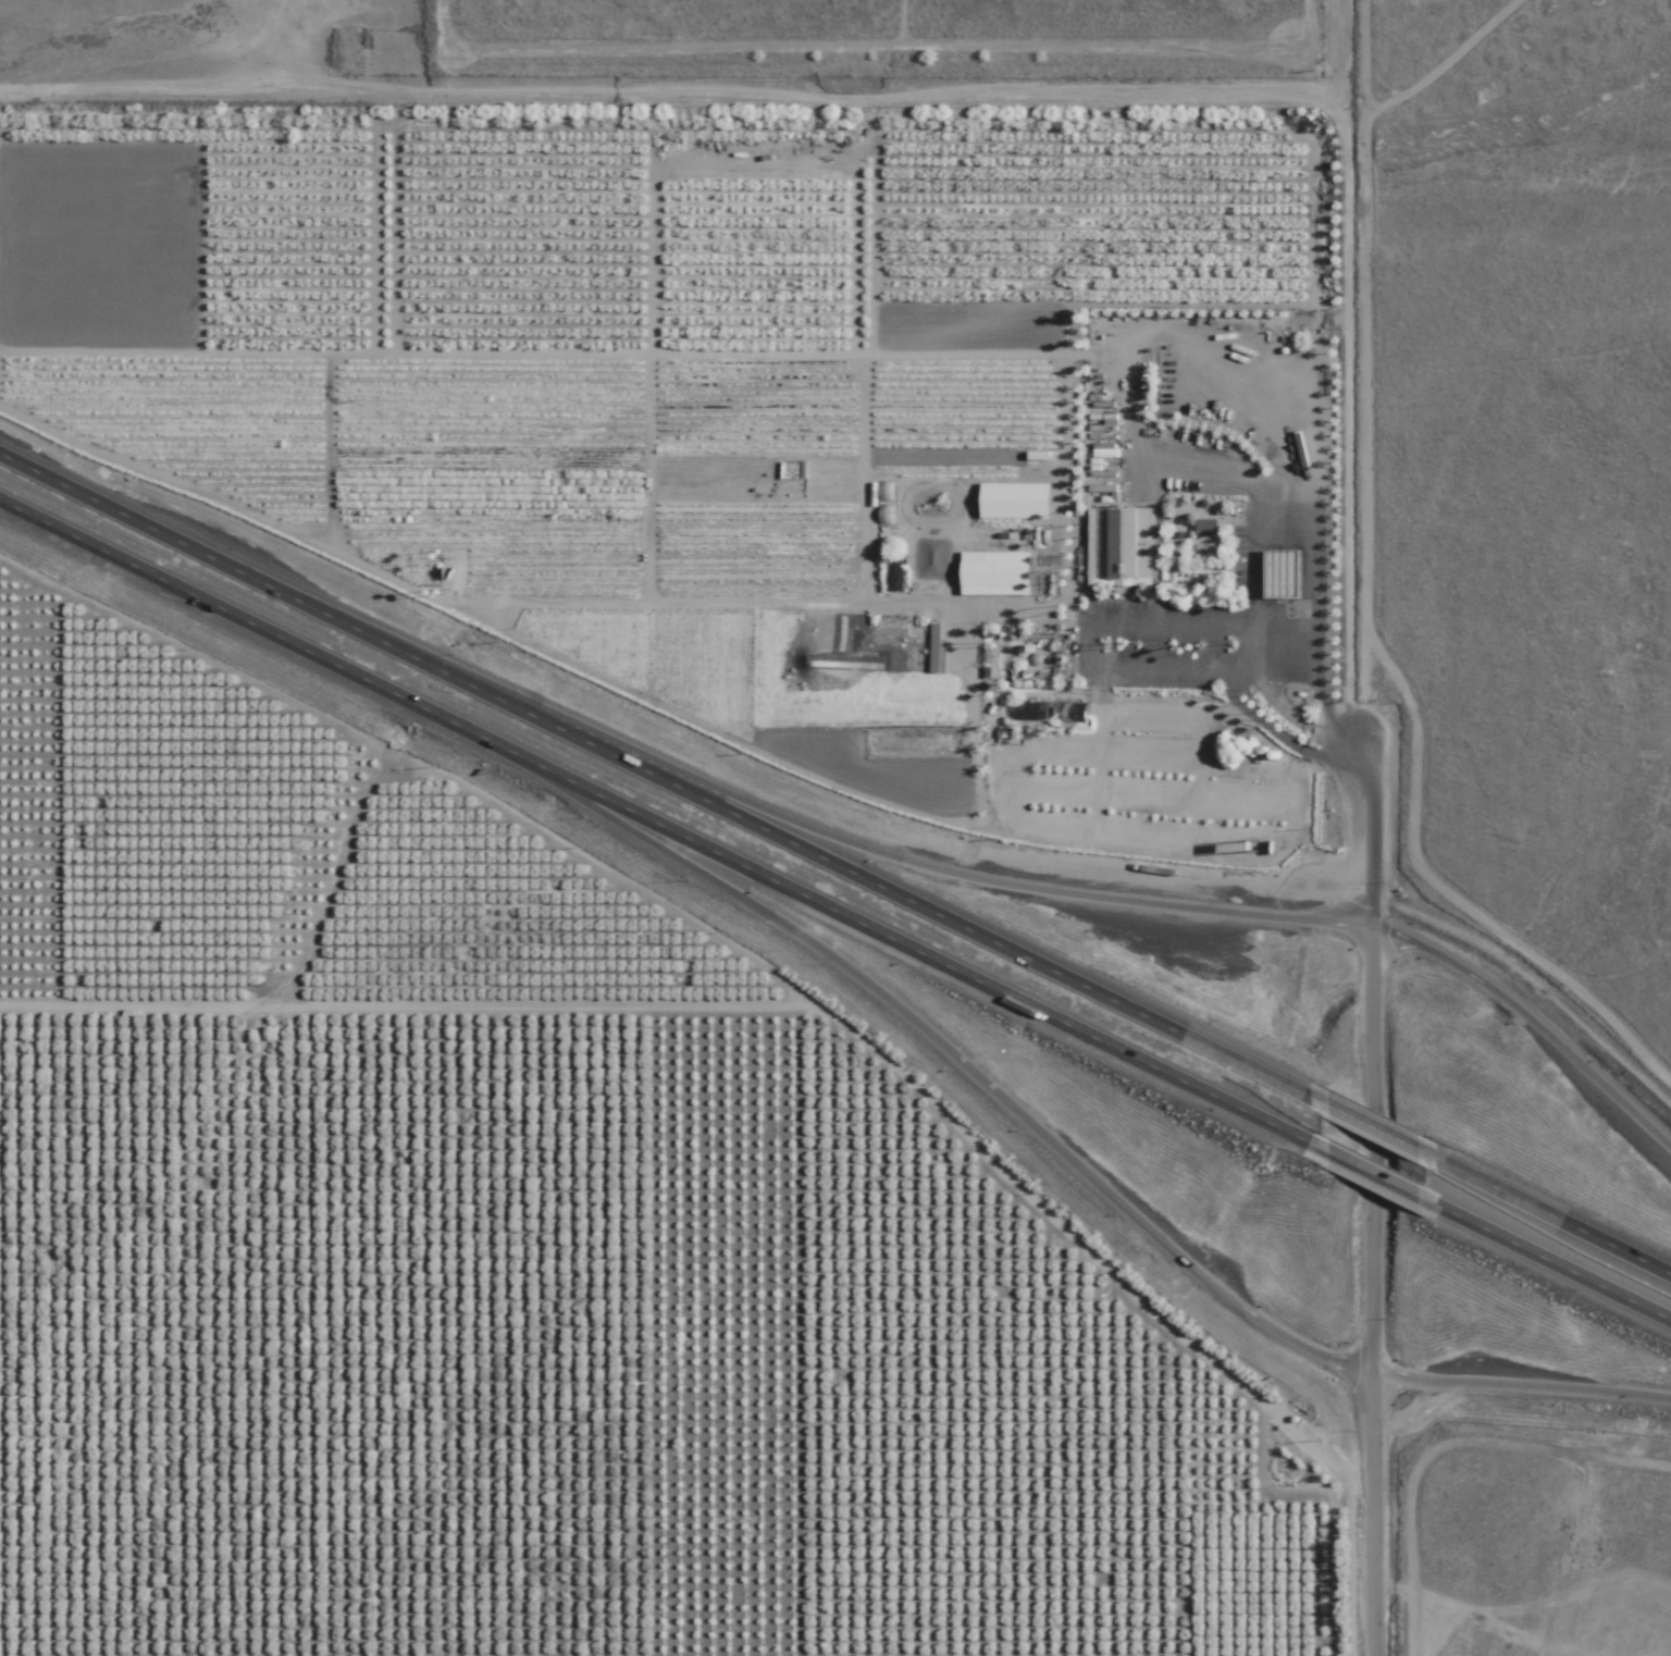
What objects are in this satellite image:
building: (1091, 387)
road: (1508, 454)
road: (1345, 465)
building: (1203, 528)
building: (1115, 552)
building: (888, 578)
road: (1240, 622)
parking lot: (1159, 647)
road: (1229, 672)
road: (1286, 718)
road: (1277, 736)
road: (656, 769)
road: (657, 827)
road: (1037, 887)
crop: (574, 904)
road: (1528, 1016)
road: (963, 1067)
road: (1369, 1122)
road: (1373, 1176)
road: (1550, 1212)
road: (1552, 1263)
road: (1374, 1292)
road: (1523, 1387)
wastewater plant: (1254, 1453)

